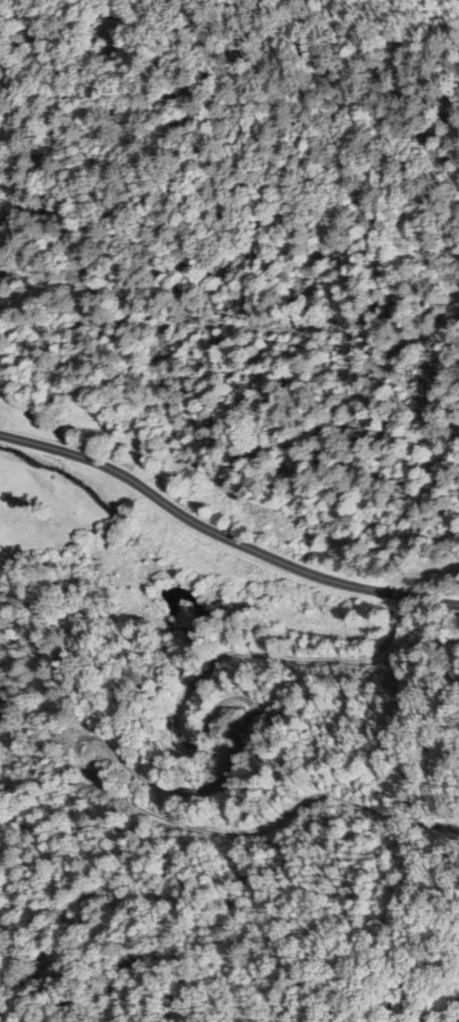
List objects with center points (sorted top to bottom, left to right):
road: (222, 535)

